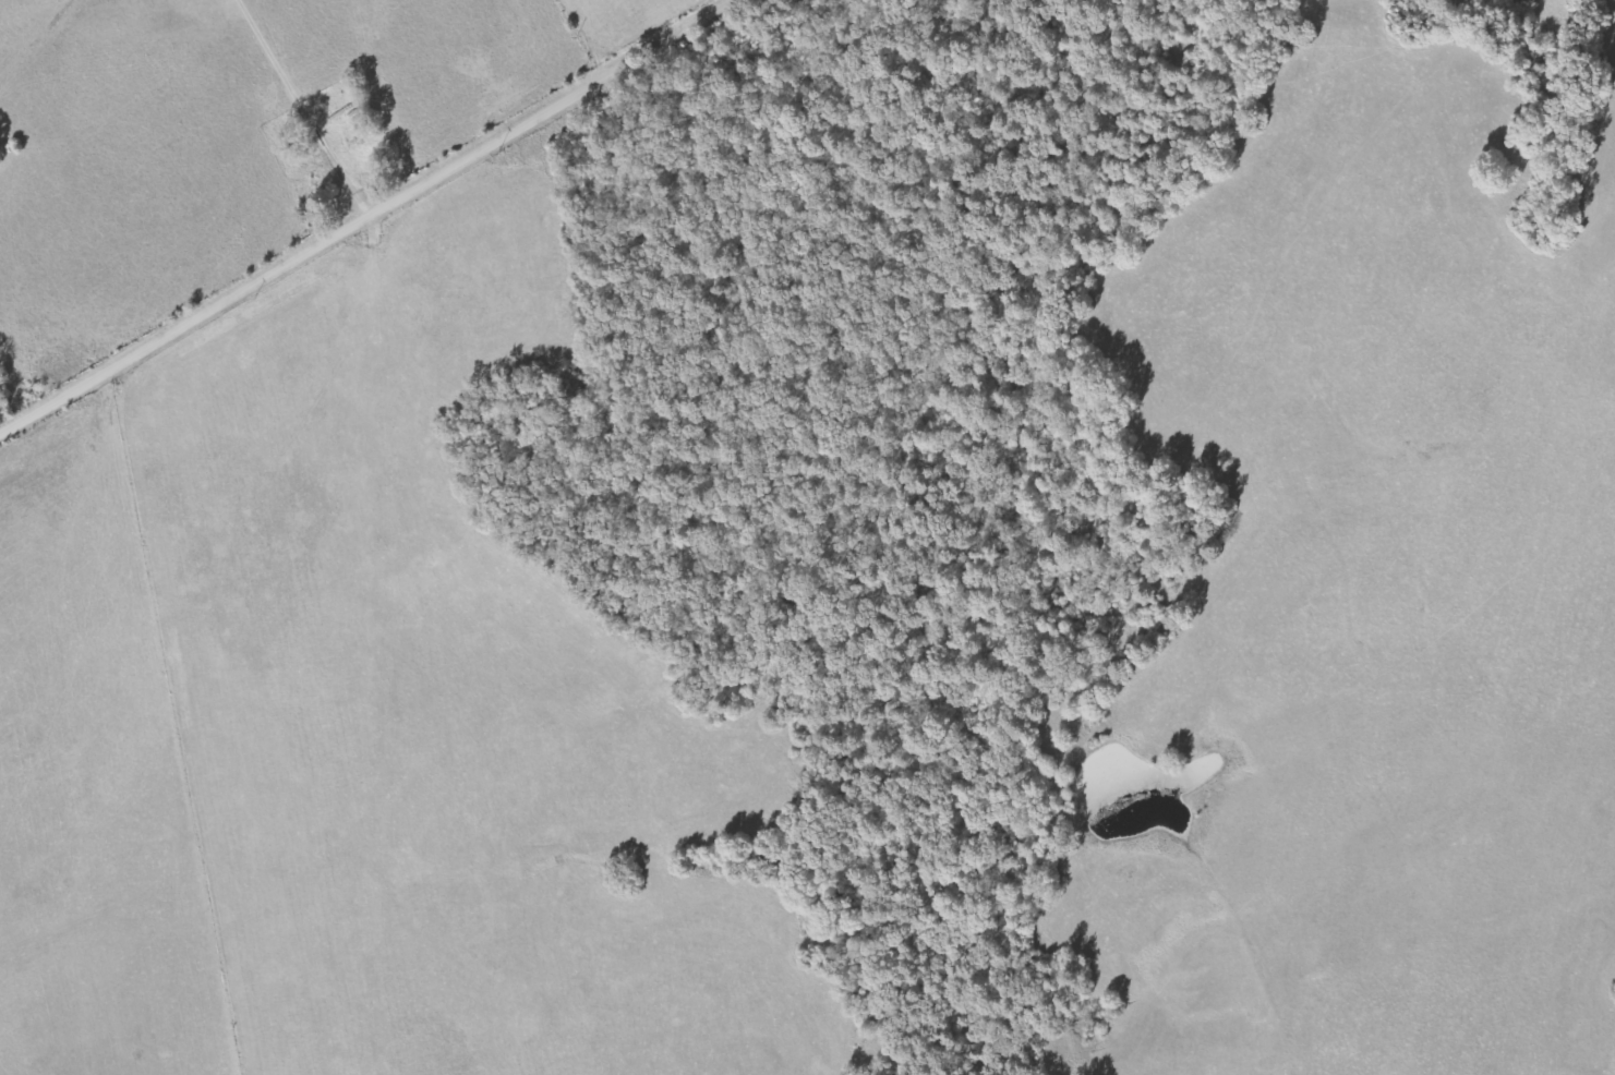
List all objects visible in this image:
road: (367, 212)

